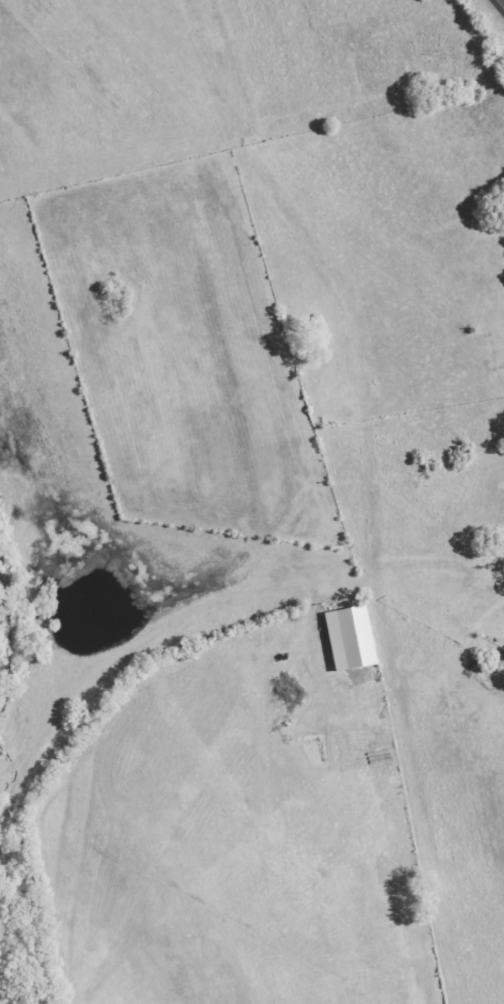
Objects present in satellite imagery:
road: (502, 1)
building: (352, 638)

